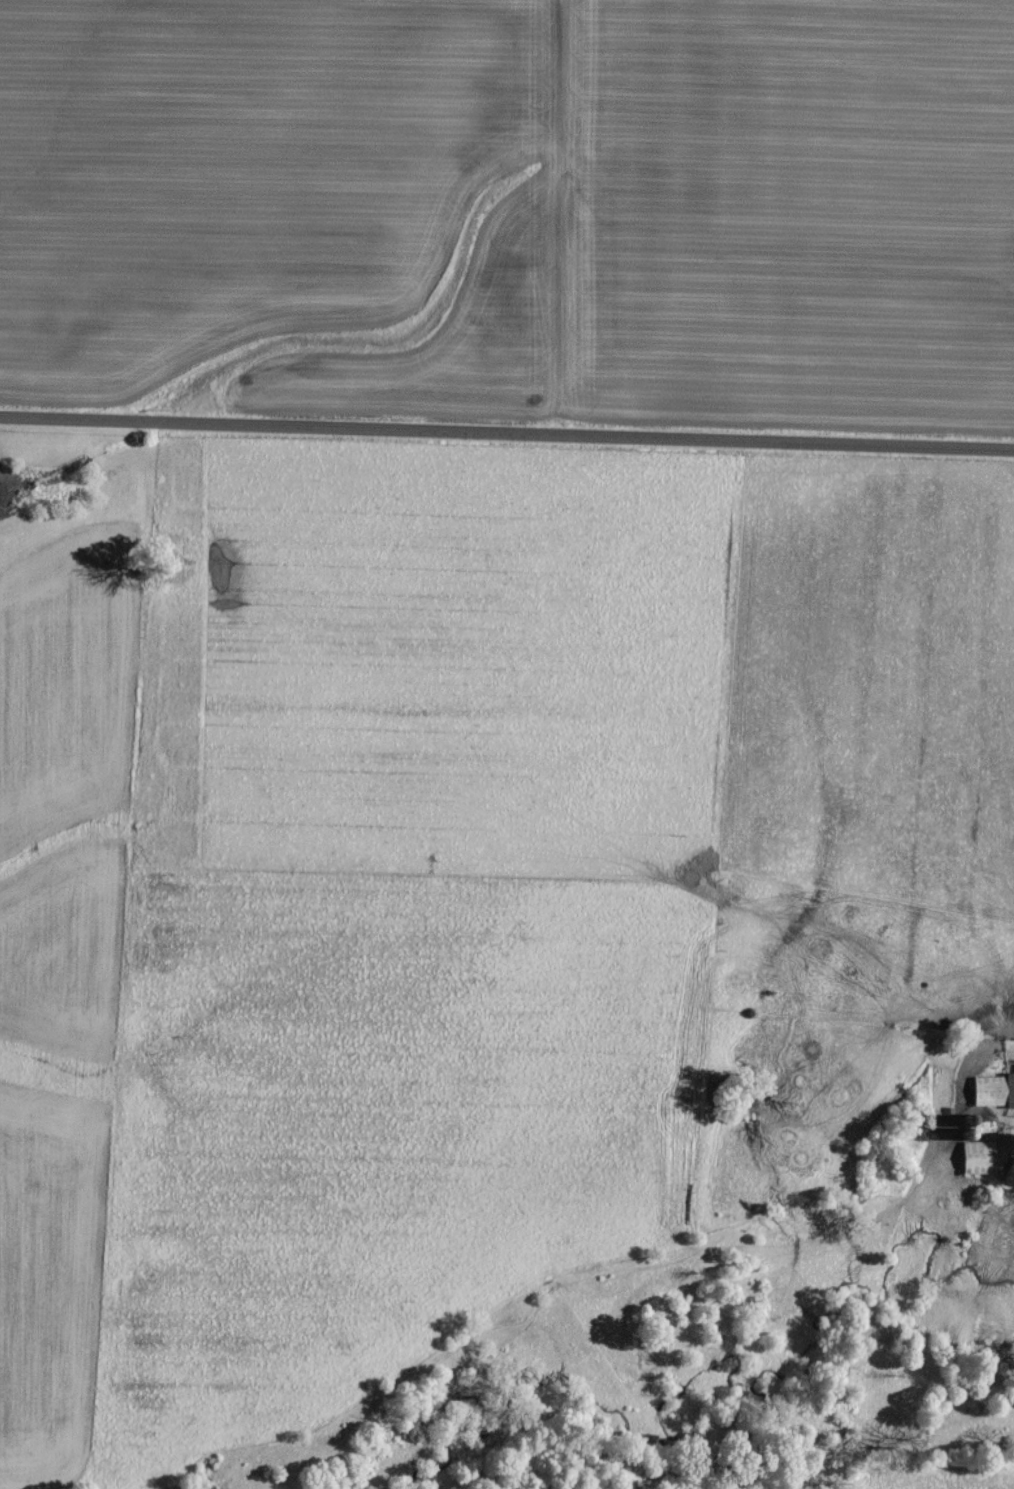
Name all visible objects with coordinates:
road: (507, 433)
building: (994, 1088)
building: (979, 1155)

